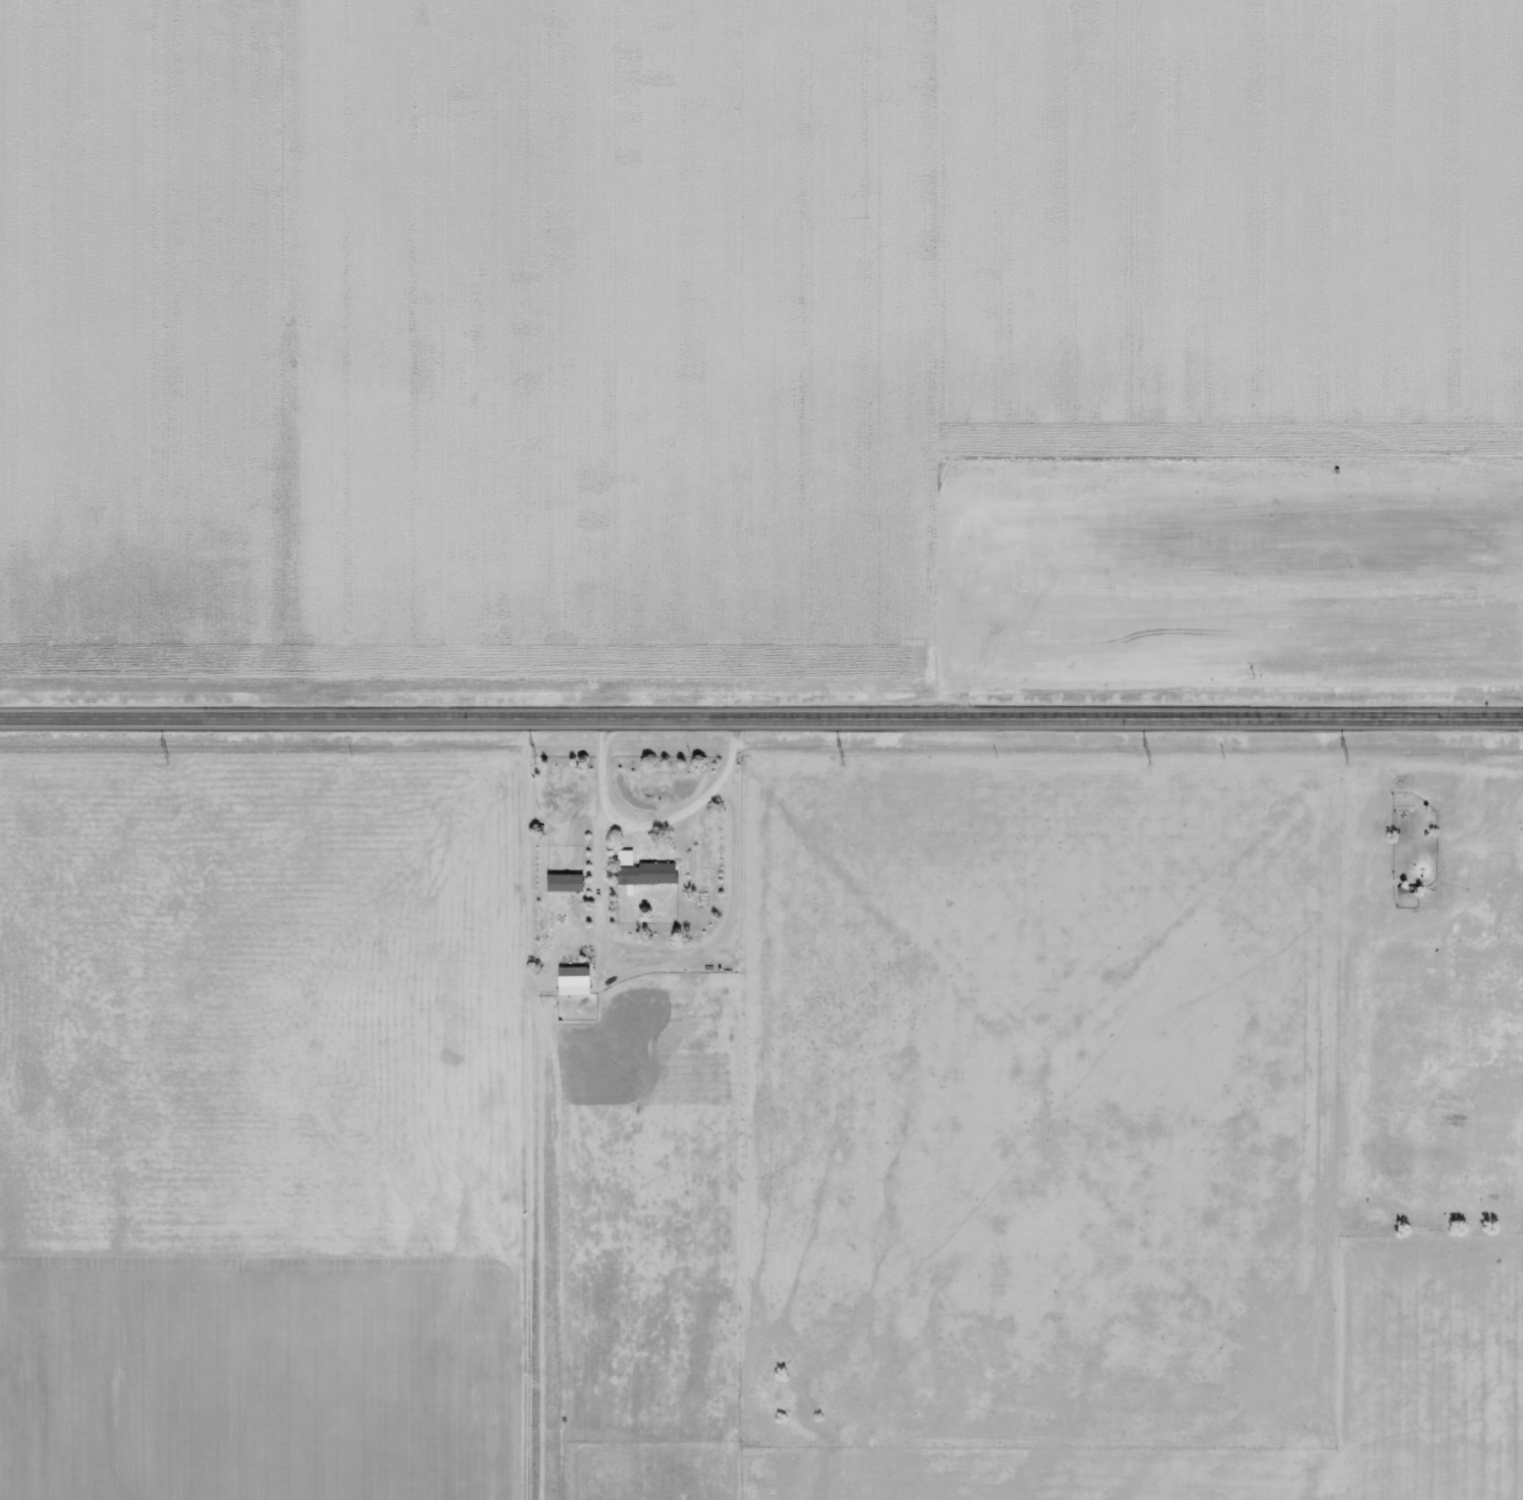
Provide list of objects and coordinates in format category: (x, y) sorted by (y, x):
road: (761, 719)
power tower: (168, 760)
power tower: (842, 760)
power tower: (1152, 760)
power tower: (1351, 760)
power tower: (537, 761)
road: (659, 827)
building: (645, 872)
building: (567, 883)
building: (576, 981)

